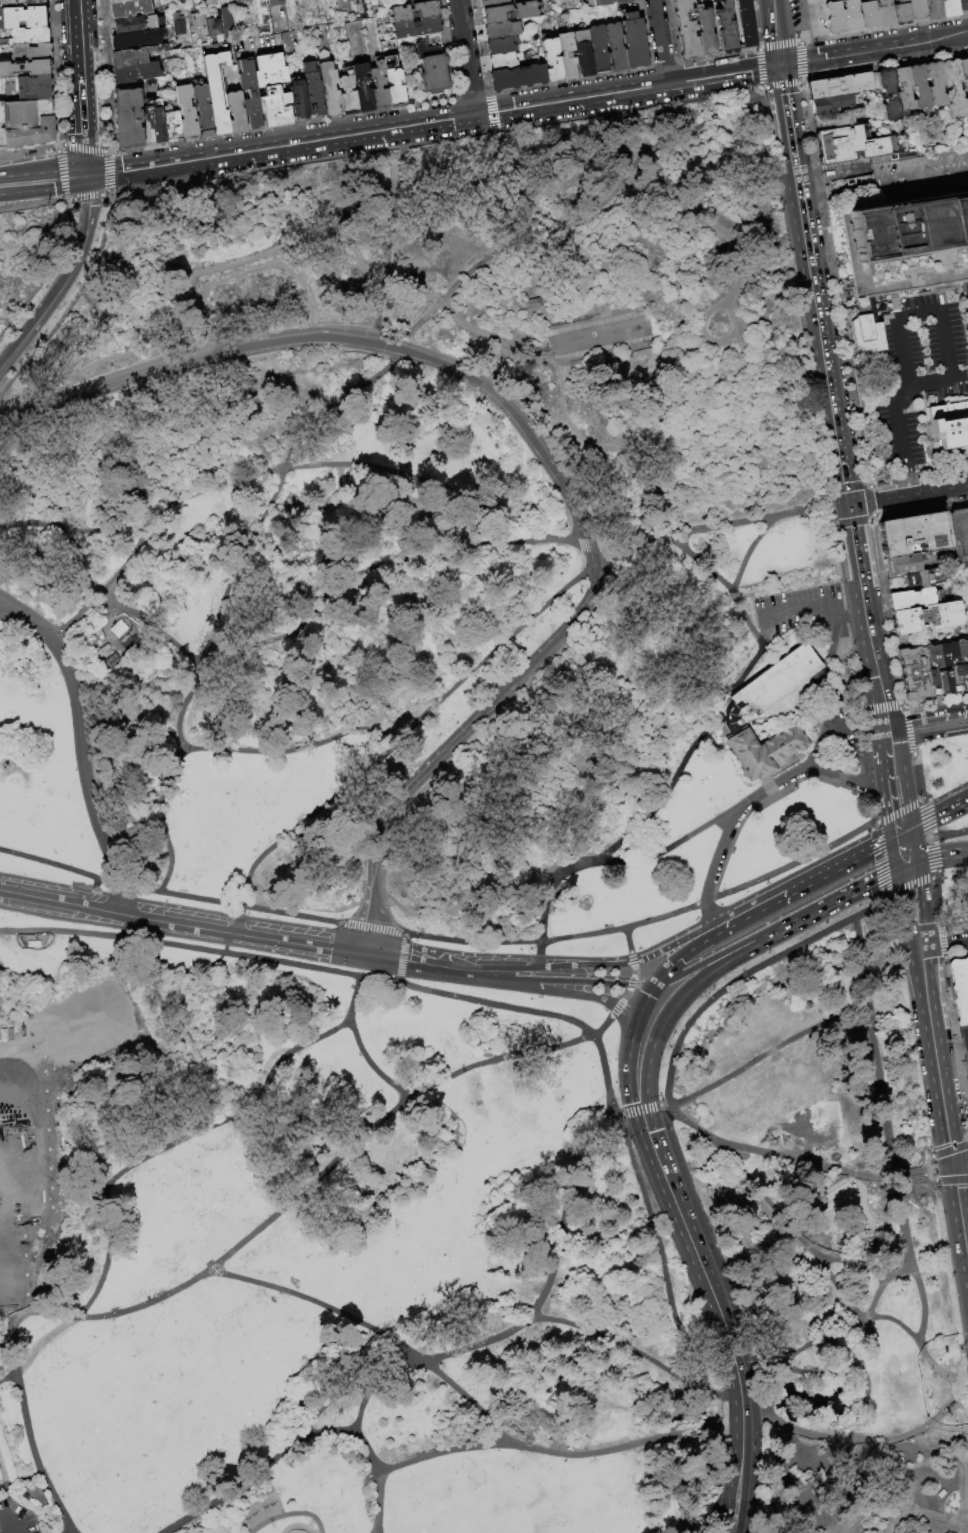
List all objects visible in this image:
building: (409, 0)
building: (875, 0)
building: (119, 1)
building: (242, 1)
building: (418, 1)
building: (610, 2)
building: (24, 3)
building: (213, 3)
building: (275, 3)
building: (493, 3)
building: (962, 5)
road: (75, 7)
building: (0, 8)
building: (949, 8)
building: (130, 9)
building: (932, 10)
building: (917, 11)
building: (414, 12)
building: (901, 12)
building: (509, 13)
building: (885, 14)
building: (868, 15)
building: (23, 18)
building: (843, 18)
building: (225, 19)
road: (805, 20)
building: (197, 21)
building: (747, 23)
road: (757, 24)
building: (137, 25)
building: (177, 27)
building: (212, 27)
building: (415, 28)
building: (726, 29)
road: (883, 29)
building: (686, 30)
building: (500, 31)
building: (705, 31)
road: (777, 33)
building: (24, 37)
building: (137, 40)
building: (635, 41)
road: (660, 42)
road: (803, 42)
road: (919, 43)
road: (781, 44)
building: (503, 46)
building: (616, 47)
road: (78, 48)
road: (448, 48)
road: (760, 48)
building: (599, 49)
building: (30, 53)
building: (584, 53)
building: (567, 56)
building: (131, 57)
road: (464, 58)
road: (825, 59)
building: (552, 60)
building: (503, 61)
road: (802, 61)
road: (688, 63)
traffic signals: (780, 67)
building: (25, 68)
road: (885, 68)
building: (432, 69)
road: (761, 69)
building: (964, 72)
building: (136, 73)
road: (723, 75)
road: (106, 76)
building: (518, 78)
building: (394, 82)
road: (801, 83)
building: (935, 84)
road: (780, 86)
building: (838, 86)
building: (379, 87)
building: (919, 87)
building: (953, 88)
building: (35, 89)
building: (329, 89)
building: (362, 89)
building: (903, 89)
building: (313, 90)
building: (217, 91)
building: (273, 91)
building: (886, 93)
building: (250, 94)
road: (782, 94)
building: (348, 95)
road: (582, 98)
building: (299, 100)
building: (834, 103)
building: (966, 107)
building: (203, 110)
building: (187, 112)
building: (236, 113)
building: (1, 114)
building: (837, 119)
building: (128, 120)
building: (28, 123)
building: (157, 125)
road: (287, 125)
building: (172, 126)
road: (82, 128)
road: (393, 129)
road: (674, 135)
building: (2, 140)
building: (851, 145)
road: (60, 146)
road: (790, 147)
road: (85, 149)
road: (110, 152)
road: (187, 162)
road: (834, 172)
road: (112, 173)
road: (63, 174)
traffic signals: (86, 176)
road: (42, 177)
road: (524, 180)
road: (923, 180)
road: (107, 195)
road: (839, 195)
road: (89, 198)
road: (71, 201)
road: (660, 219)
road: (729, 240)
road: (392, 241)
road: (518, 243)
building: (903, 255)
road: (210, 269)
road: (46, 272)
road: (536, 275)
road: (65, 281)
road: (833, 282)
building: (965, 295)
road: (797, 296)
building: (531, 302)
road: (74, 304)
road: (942, 312)
road: (455, 315)
road: (567, 318)
road: (419, 322)
road: (702, 331)
park: (600, 337)
road: (822, 339)
road: (511, 343)
road: (543, 343)
road: (600, 354)
road: (903, 391)
road: (562, 407)
road: (686, 410)
building: (949, 425)
road: (522, 426)
road: (904, 433)
road: (607, 439)
road: (254, 474)
road: (919, 475)
road: (328, 479)
road: (912, 479)
road: (413, 481)
road: (869, 483)
road: (629, 486)
road: (845, 486)
road: (31, 487)
road: (908, 496)
road: (870, 501)
traffic signals: (849, 506)
road: (920, 509)
road: (870, 518)
road: (850, 522)
road: (742, 523)
building: (961, 532)
building: (916, 534)
road: (854, 543)
road: (579, 544)
road: (80, 558)
road: (696, 563)
building: (902, 566)
road: (227, 572)
building: (926, 579)
road: (737, 580)
building: (914, 599)
road: (802, 606)
parking lot: (797, 609)
road: (885, 610)
road: (20, 613)
road: (851, 613)
building: (928, 618)
building: (116, 628)
road: (296, 638)
road: (873, 650)
building: (961, 662)
road: (855, 664)
road: (828, 667)
building: (940, 668)
building: (912, 672)
building: (772, 684)
road: (935, 697)
road: (902, 703)
road: (880, 706)
road: (809, 709)
road: (185, 711)
road: (926, 714)
road: (767, 721)
road: (886, 730)
road: (908, 730)
road: (928, 733)
road: (817, 741)
road: (343, 742)
road: (696, 746)
road: (854, 748)
road: (888, 748)
building: (765, 750)
road: (82, 756)
road: (884, 767)
road: (365, 773)
road: (843, 773)
road: (560, 775)
road: (916, 776)
road: (783, 779)
road: (905, 787)
road: (767, 797)
road: (922, 798)
road: (745, 802)
road: (948, 805)
road: (884, 807)
road: (896, 811)
park: (948, 812)
road: (929, 815)
road: (920, 819)
road: (872, 824)
traffic signals: (912, 824)
road: (900, 831)
road: (288, 832)
road: (930, 834)
road: (949, 834)
traffic signals: (889, 838)
road: (927, 839)
road: (932, 839)
road: (914, 842)
road: (879, 843)
road: (933, 849)
road: (950, 853)
road: (891, 854)
road: (897, 854)
road: (925, 858)
road: (597, 861)
road: (875, 861)
traffic signals: (917, 861)
road: (792, 862)
road: (935, 863)
road: (52, 864)
road: (905, 866)
park: (447, 867)
road: (712, 869)
traffic signals: (894, 871)
road: (933, 877)
road: (118, 884)
road: (793, 886)
road: (907, 887)
road: (93, 892)
road: (936, 893)
road: (879, 896)
road: (703, 900)
road: (59, 902)
road: (828, 904)
road: (923, 905)
road: (234, 906)
road: (374, 908)
road: (900, 913)
road: (762, 924)
road: (947, 925)
road: (354, 927)
road: (233, 930)
road: (389, 932)
road: (242, 933)
road: (941, 937)
road: (553, 938)
road: (628, 939)
road: (367, 941)
road: (674, 943)
road: (943, 946)
road: (199, 950)
road: (685, 953)
road: (386, 957)
road: (956, 957)
road: (402, 958)
road: (861, 964)
road: (584, 965)
road: (471, 970)
road: (744, 975)
road: (193, 982)
road: (583, 982)
road: (643, 985)
road: (630, 987)
building: (960, 989)
road: (577, 991)
road: (675, 1006)
park: (109, 1008)
road: (539, 1014)
park: (84, 1020)
road: (602, 1027)
road: (907, 1028)
road: (627, 1029)
park: (57, 1032)
road: (146, 1038)
road: (954, 1042)
building: (965, 1043)
road: (631, 1045)
road: (359, 1047)
road: (766, 1056)
road: (936, 1065)
road: (882, 1093)
building: (967, 1093)
park: (27, 1096)
park: (5, 1098)
road: (661, 1106)
road: (639, 1110)
traffic signals: (641, 1110)
road: (617, 1115)
road: (381, 1120)
road: (967, 1141)
road: (172, 1142)
road: (949, 1149)
road: (774, 1157)
road: (926, 1161)
road: (960, 1163)
traffic signals: (952, 1165)
road: (940, 1167)
road: (911, 1173)
park: (30, 1174)
park: (7, 1177)
road: (928, 1177)
road: (945, 1181)
road: (961, 1181)
park: (838, 1202)
road: (59, 1214)
building: (853, 1216)
road: (865, 1220)
road: (961, 1221)
park: (174, 1223)
road: (709, 1237)
road: (696, 1259)
park: (8, 1261)
road: (910, 1263)
road: (850, 1264)
road: (664, 1273)
road: (947, 1273)
road: (830, 1278)
road: (881, 1283)
road: (108, 1317)
road: (371, 1329)
road: (825, 1338)
road: (911, 1338)
road: (40, 1343)
road: (625, 1346)
road: (7, 1349)
road: (435, 1356)
road: (925, 1357)
road: (947, 1374)
road: (8, 1377)
road: (965, 1384)
road: (751, 1390)
road: (942, 1390)
road: (865, 1400)
road: (722, 1403)
road: (764, 1419)
road: (755, 1420)
road: (739, 1422)
road: (28, 1425)
road: (724, 1426)
road: (323, 1432)
road: (842, 1441)
road: (739, 1443)
road: (545, 1451)
road: (368, 1456)
road: (953, 1463)
park: (0, 1478)
road: (20, 1480)
road: (753, 1482)
road: (720, 1484)
road: (813, 1485)
park: (537, 1491)
road: (730, 1493)
road: (742, 1493)
park: (498, 1494)
park: (450, 1500)
road: (7, 1502)
park: (412, 1504)
road: (917, 1512)
road: (290, 1515)
parking lot: (15, 1518)
road: (959, 1522)
road: (11, 1524)
park: (543, 1526)
park: (504, 1528)
park: (454, 1530)
road: (376, 1532)
park: (429, 1532)

